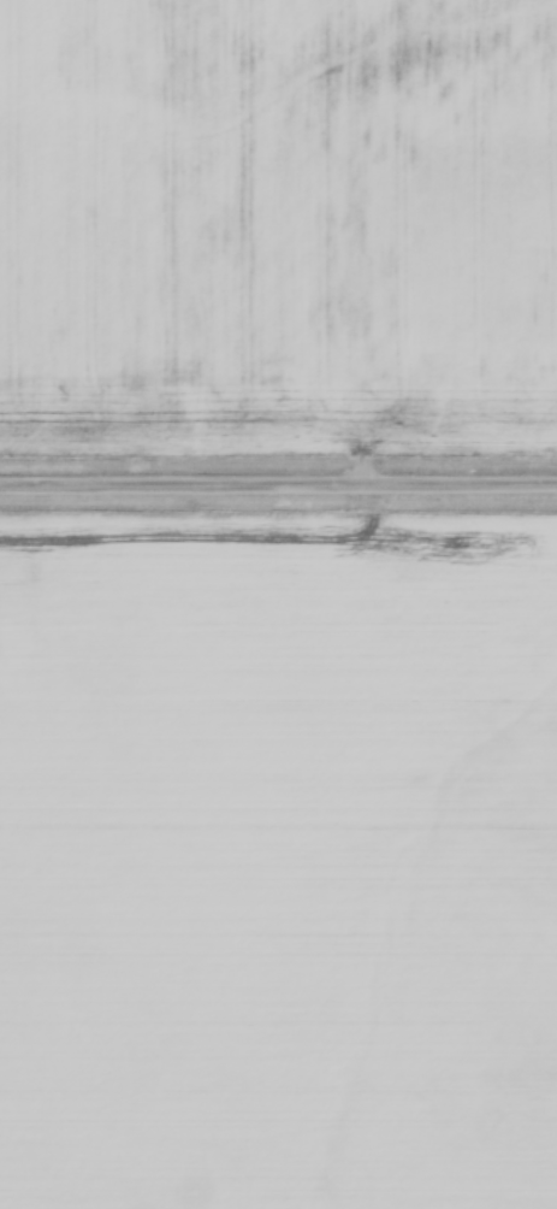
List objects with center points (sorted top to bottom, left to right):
road: (278, 482)

